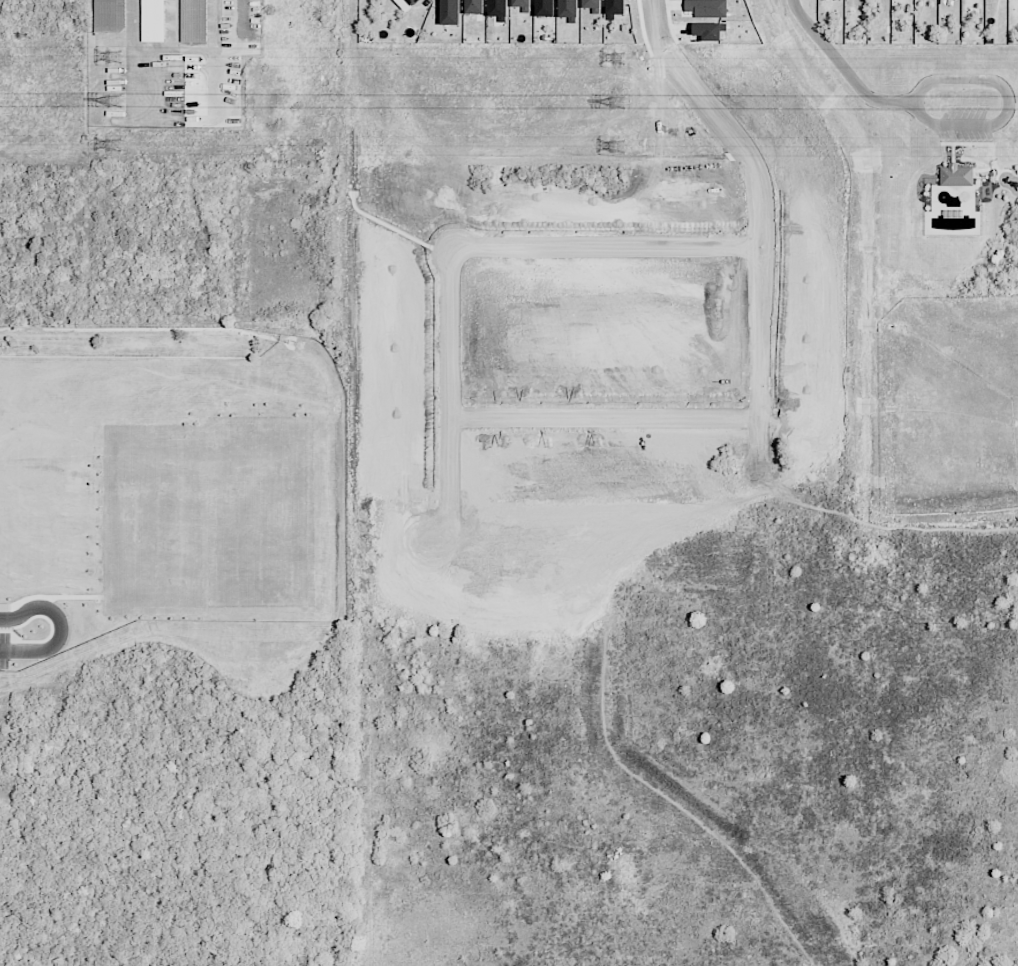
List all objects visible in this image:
building: (413, 2)
building: (520, 3)
building: (591, 3)
building: (474, 6)
building: (568, 8)
building: (707, 8)
building: (499, 9)
building: (451, 12)
building: (109, 15)
building: (152, 21)
building: (193, 21)
road: (665, 37)
power tower: (116, 57)
power tower: (619, 59)
road: (843, 66)
power tower: (116, 100)
power tower: (619, 102)
road: (1007, 103)
power tower: (115, 146)
power tower: (618, 147)
building: (956, 175)
road: (563, 418)
road: (604, 589)
road: (64, 628)
road: (453, 658)
road: (625, 667)

